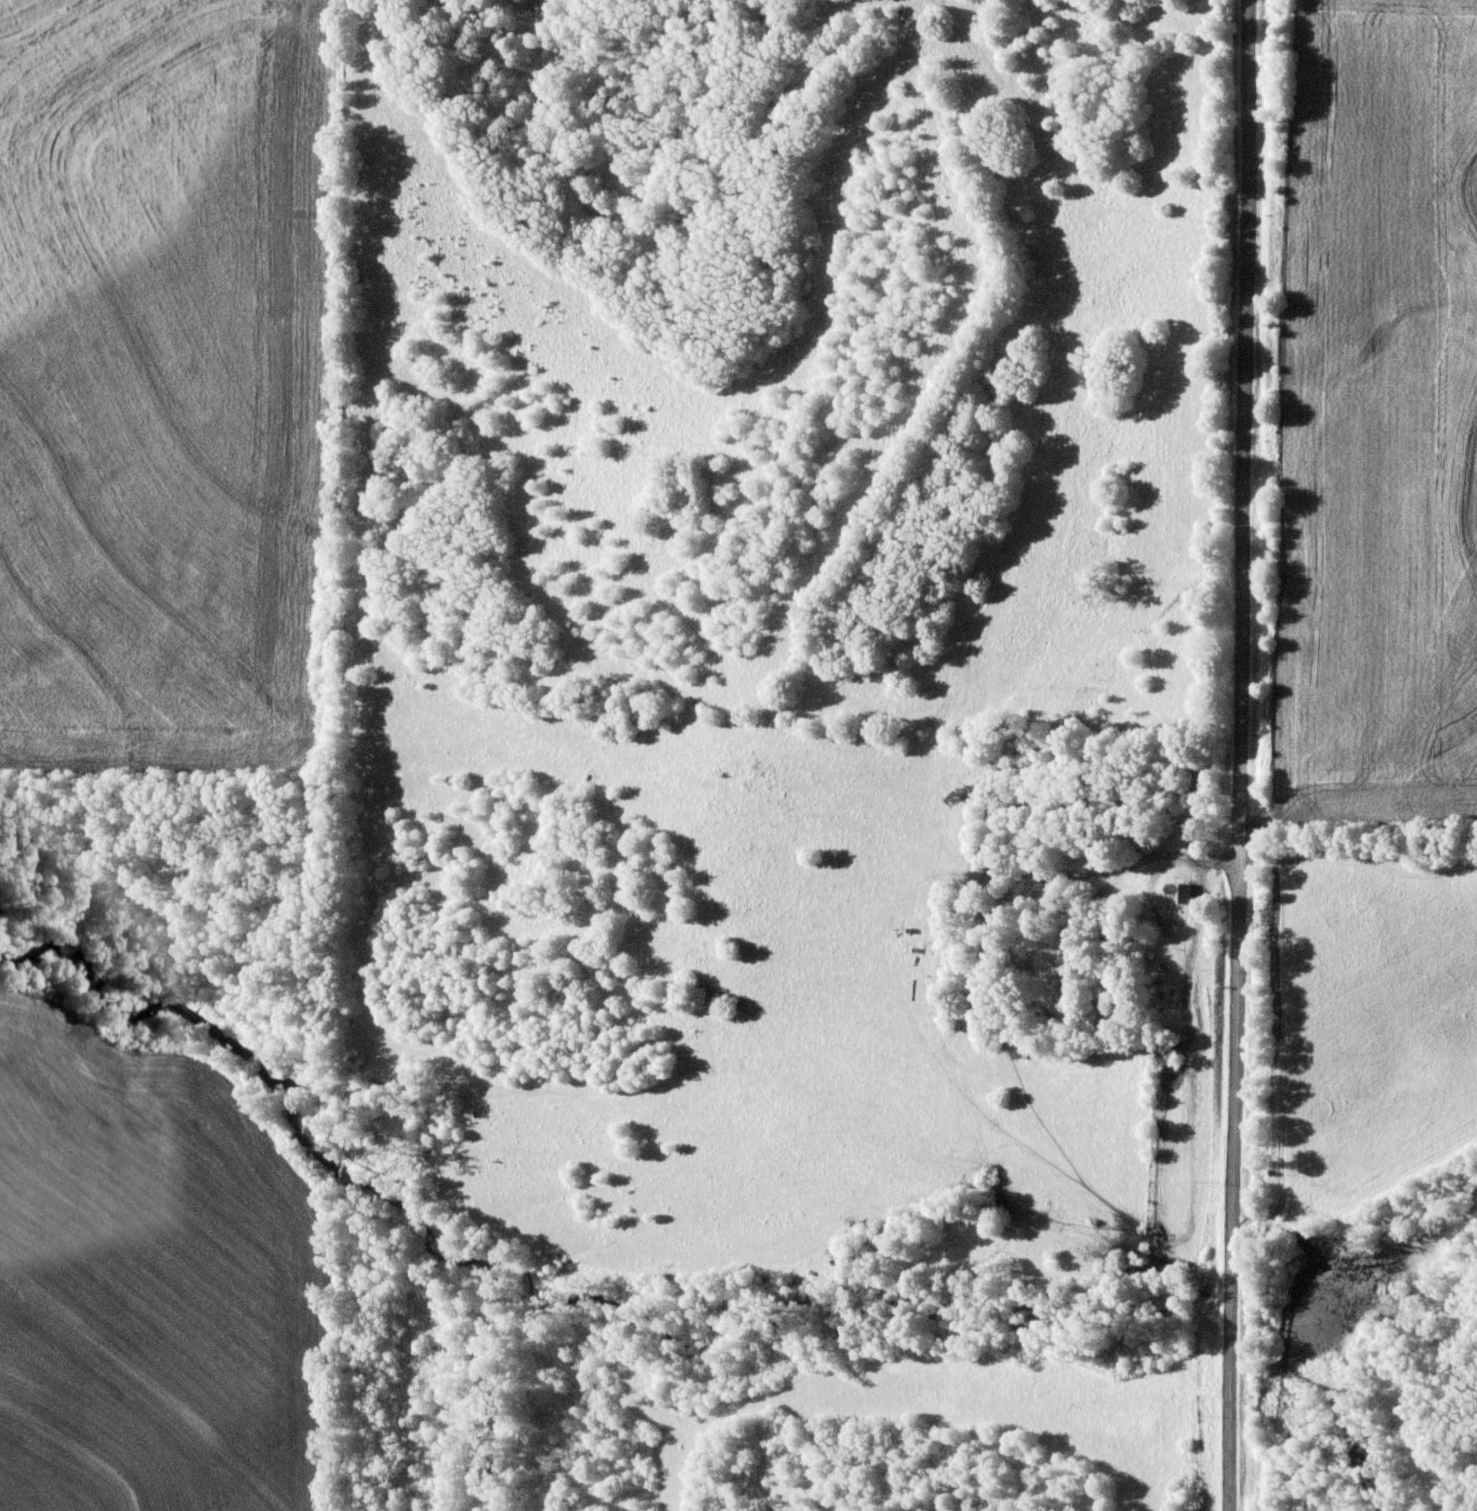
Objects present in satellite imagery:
road: (1235, 755)
building: (1177, 891)

